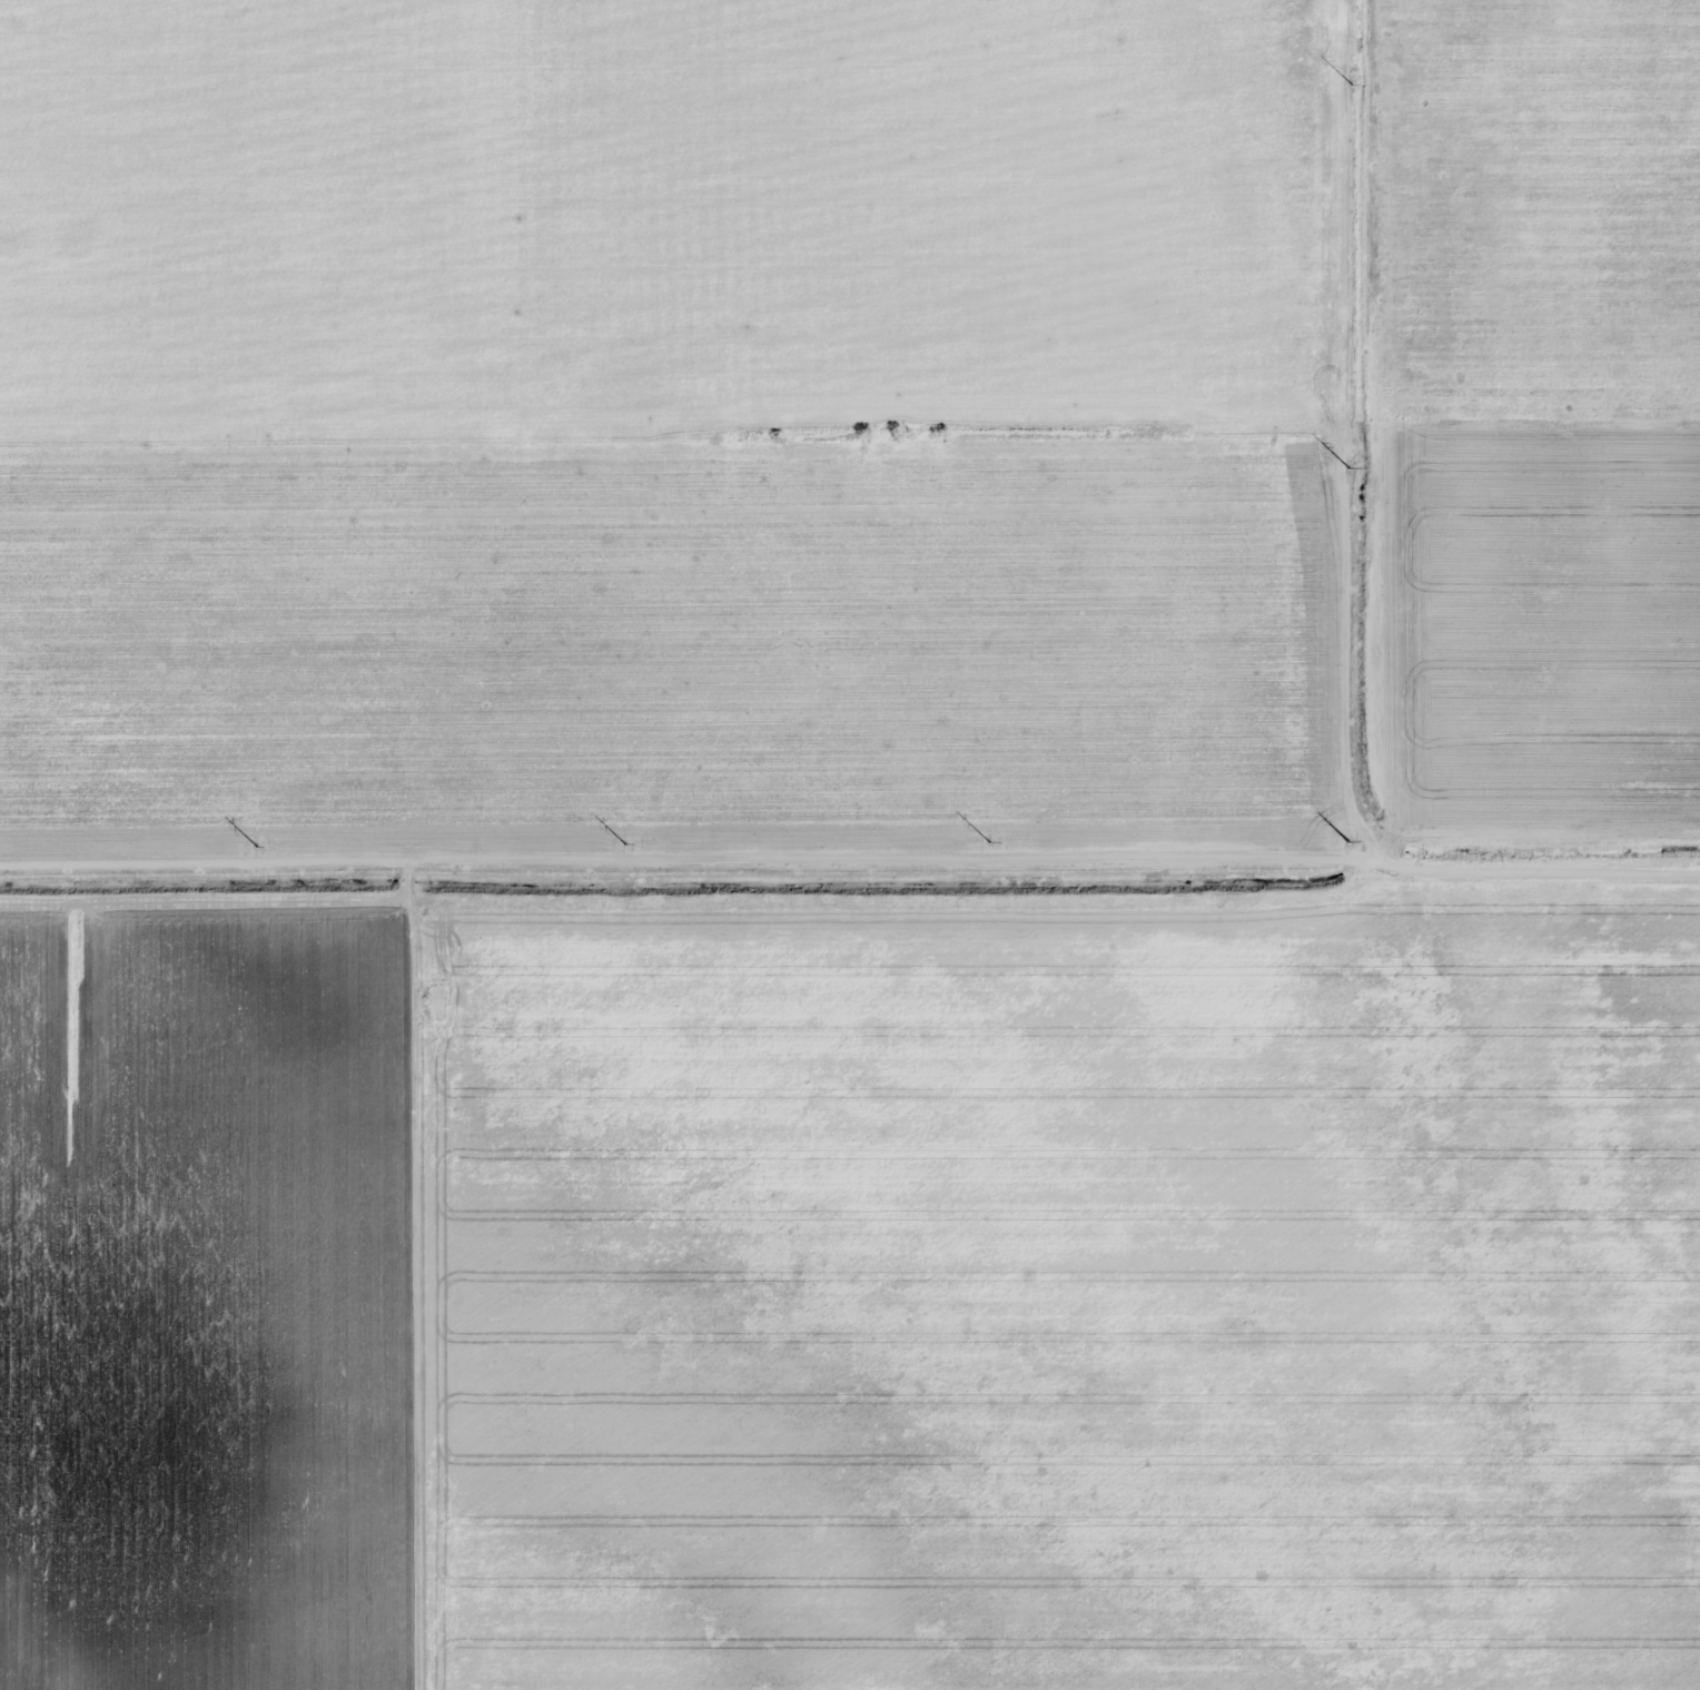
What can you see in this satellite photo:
power tower: (1353, 77)
road: (1372, 433)
power tower: (1355, 461)
power tower: (1355, 843)
power tower: (996, 849)
power tower: (264, 851)
power tower: (632, 851)
road: (850, 867)

